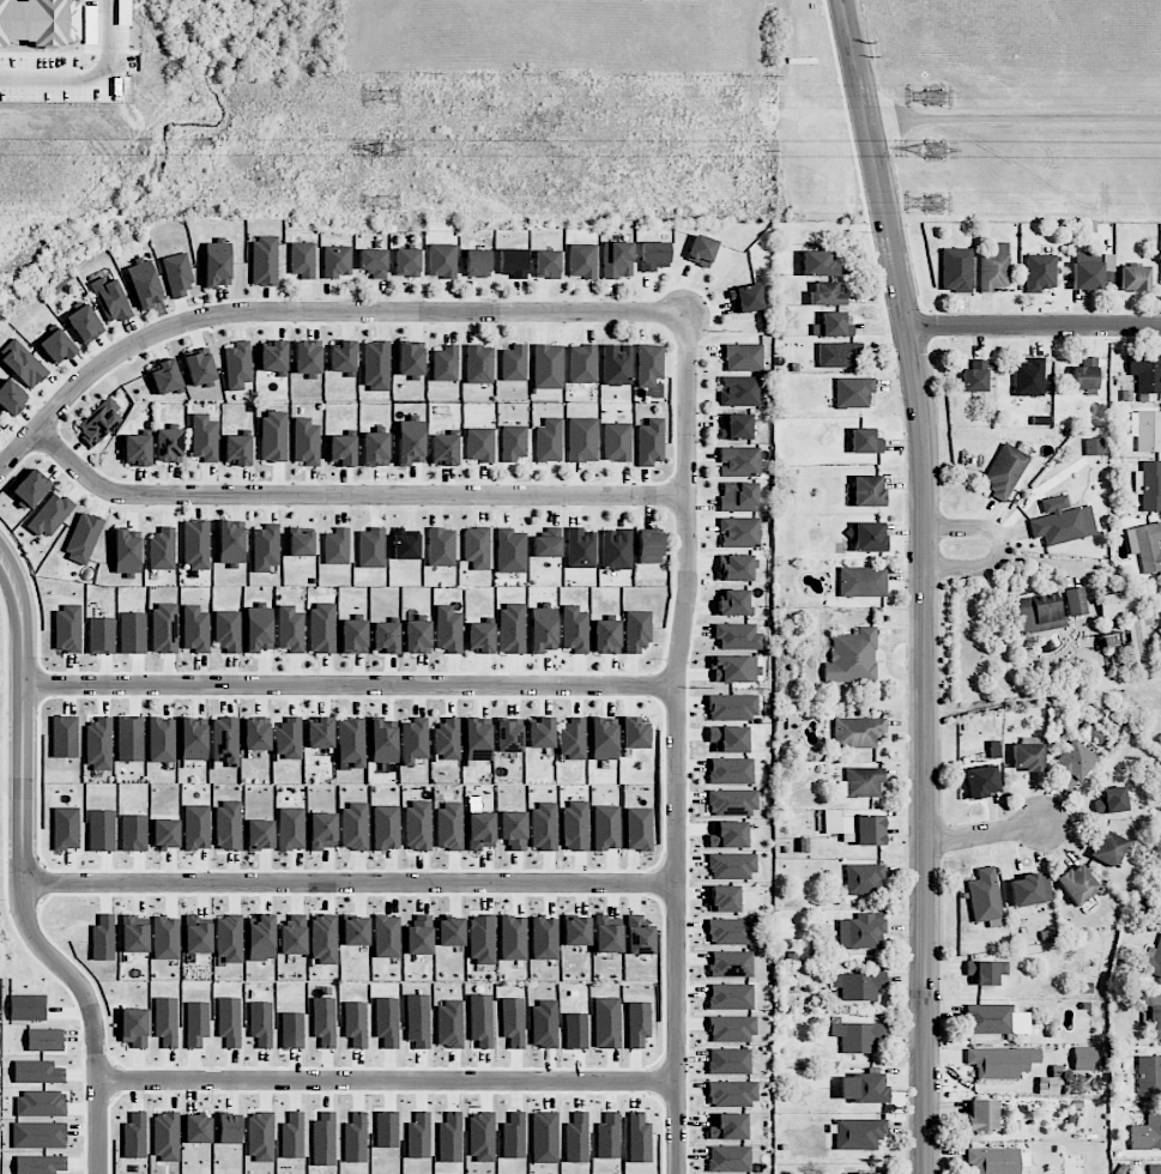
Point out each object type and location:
building: (38, 22)
road: (89, 73)
power tower: (389, 97)
power tower: (937, 98)
road: (1014, 117)
power tower: (389, 149)
power tower: (935, 151)
power tower: (388, 204)
power tower: (937, 205)
building: (701, 250)
building: (654, 256)
building: (302, 260)
building: (442, 260)
building: (617, 260)
building: (264, 261)
building: (337, 261)
building: (582, 261)
building: (373, 262)
building: (407, 262)
building: (513, 262)
building: (217, 264)
building: (477, 264)
building: (548, 264)
building: (817, 264)
building: (994, 268)
building: (956, 270)
building: (1087, 271)
building: (1040, 272)
building: (177, 274)
building: (1133, 278)
building: (144, 283)
building: (826, 295)
building: (746, 298)
building: (110, 299)
road: (315, 310)
building: (84, 323)
building: (832, 326)
road: (1034, 326)
building: (58, 346)
building: (834, 355)
building: (273, 356)
building: (343, 357)
building: (743, 357)
building: (308, 358)
building: (410, 359)
building: (446, 363)
building: (514, 363)
building: (582, 363)
building: (23, 364)
building: (479, 364)
building: (617, 364)
building: (649, 364)
building: (238, 365)
building: (376, 367)
building: (548, 367)
building: (200, 368)
building: (1145, 373)
building: (1084, 374)
building: (165, 376)
building: (974, 376)
building: (1028, 381)
building: (739, 391)
building: (854, 392)
building: (11, 395)
building: (0, 416)
building: (99, 422)
building: (736, 426)
building: (1147, 430)
building: (273, 436)
building: (205, 437)
building: (582, 440)
building: (411, 441)
building: (549, 441)
building: (865, 441)
building: (307, 442)
building: (514, 442)
building: (617, 442)
building: (649, 442)
building: (169, 444)
building: (479, 444)
building: (1094, 447)
building: (237, 449)
building: (343, 449)
building: (375, 449)
building: (443, 449)
building: (137, 450)
building: (739, 461)
building: (1005, 471)
building: (1149, 485)
building: (30, 489)
building: (867, 490)
road: (350, 496)
building: (738, 497)
building: (50, 515)
building: (1062, 521)
building: (739, 532)
building: (867, 537)
building: (83, 538)
building: (301, 541)
building: (230, 543)
building: (196, 544)
building: (406, 545)
building: (337, 546)
building: (546, 546)
building: (649, 546)
road: (1002, 546)
building: (1147, 546)
building: (266, 547)
building: (371, 547)
building: (441, 547)
building: (477, 547)
building: (581, 549)
building: (616, 549)
building: (162, 550)
building: (510, 551)
building: (127, 552)
building: (734, 568)
building: (863, 582)
road: (927, 582)
road: (685, 595)
building: (1076, 601)
building: (733, 603)
building: (1117, 605)
building: (1038, 613)
building: (164, 628)
building: (259, 628)
building: (512, 628)
building: (195, 629)
building: (290, 629)
building: (322, 629)
building: (448, 629)
building: (543, 629)
building: (575, 629)
building: (637, 630)
building: (228, 631)
building: (353, 636)
building: (417, 636)
building: (606, 636)
building: (738, 636)
building: (385, 637)
building: (479, 637)
building: (1142, 640)
building: (852, 656)
building: (737, 668)
road: (350, 685)
building: (733, 707)
road: (23, 713)
building: (319, 732)
building: (858, 732)
building: (540, 733)
building: (634, 733)
building: (256, 734)
building: (508, 736)
building: (289, 738)
building: (129, 739)
building: (447, 739)
building: (603, 739)
building: (728, 739)
building: (162, 740)
building: (193, 740)
building: (413, 740)
building: (477, 740)
building: (573, 740)
building: (225, 742)
building: (351, 742)
building: (382, 742)
building: (98, 743)
building: (1028, 756)
building: (1072, 764)
building: (731, 771)
building: (982, 781)
building: (861, 782)
building: (1112, 800)
building: (732, 803)
building: (229, 825)
building: (449, 825)
building: (576, 825)
building: (855, 825)
building: (196, 827)
building: (355, 827)
building: (418, 827)
building: (544, 827)
building: (386, 828)
building: (606, 828)
building: (291, 829)
building: (513, 829)
building: (639, 829)
building: (323, 830)
building: (480, 830)
building: (165, 833)
road: (987, 834)
building: (260, 835)
building: (727, 835)
building: (1108, 848)
building: (732, 866)
building: (864, 878)
road: (349, 879)
building: (1077, 884)
building: (1030, 889)
building: (984, 896)
building: (722, 898)
building: (1159, 904)
building: (355, 931)
building: (576, 931)
building: (732, 931)
building: (451, 932)
building: (861, 932)
building: (134, 934)
building: (196, 934)
building: (294, 934)
building: (607, 934)
building: (387, 936)
building: (419, 936)
building: (639, 936)
building: (103, 938)
building: (165, 938)
building: (229, 938)
building: (261, 938)
building: (513, 938)
building: (545, 938)
building: (482, 940)
building: (1151, 960)
building: (731, 964)
building: (986, 972)
building: (859, 986)
building: (731, 997)
building: (1154, 1010)
road: (91, 1015)
building: (996, 1019)
building: (418, 1021)
building: (167, 1022)
building: (230, 1022)
building: (323, 1022)
building: (387, 1022)
building: (482, 1022)
building: (513, 1022)
building: (607, 1022)
building: (196, 1023)
building: (261, 1023)
building: (356, 1023)
building: (545, 1023)
building: (449, 1024)
building: (639, 1024)
building: (134, 1027)
road: (675, 1027)
building: (732, 1029)
building: (292, 1030)
building: (575, 1030)
building: (858, 1036)
building: (44, 1040)
building: (1084, 1059)
building: (730, 1061)
building: (1002, 1061)
building: (38, 1072)
building: (1149, 1075)
road: (385, 1078)
building: (1048, 1085)
building: (863, 1088)
building: (731, 1094)
building: (40, 1103)
building: (986, 1115)
building: (727, 1126)
building: (196, 1128)
building: (229, 1128)
building: (387, 1128)
building: (1145, 1132)
building: (858, 1133)
building: (38, 1134)
building: (134, 1136)
building: (292, 1136)
building: (418, 1136)
building: (513, 1136)
building: (165, 1137)
building: (261, 1137)
building: (482, 1137)
building: (544, 1137)
building: (609, 1137)
building: (356, 1138)
building: (451, 1138)
building: (576, 1138)
building: (639, 1138)
building: (323, 1139)
building: (730, 1158)
building: (994, 1160)
building: (40, 1164)
building: (1154, 1169)
building: (861, 1173)

